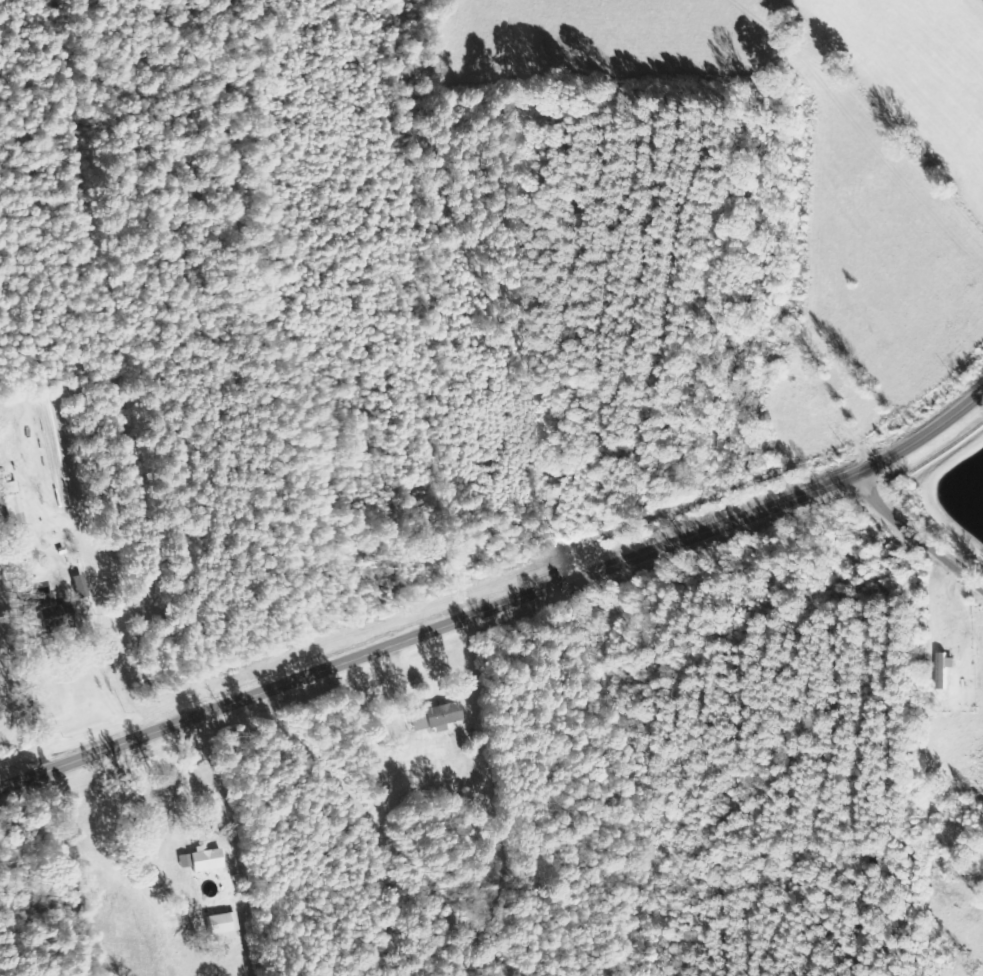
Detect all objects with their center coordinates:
road: (919, 541)
building: (84, 587)
road: (499, 601)
building: (56, 608)
building: (947, 669)
building: (447, 713)
building: (207, 859)
road: (51, 873)
building: (226, 923)

